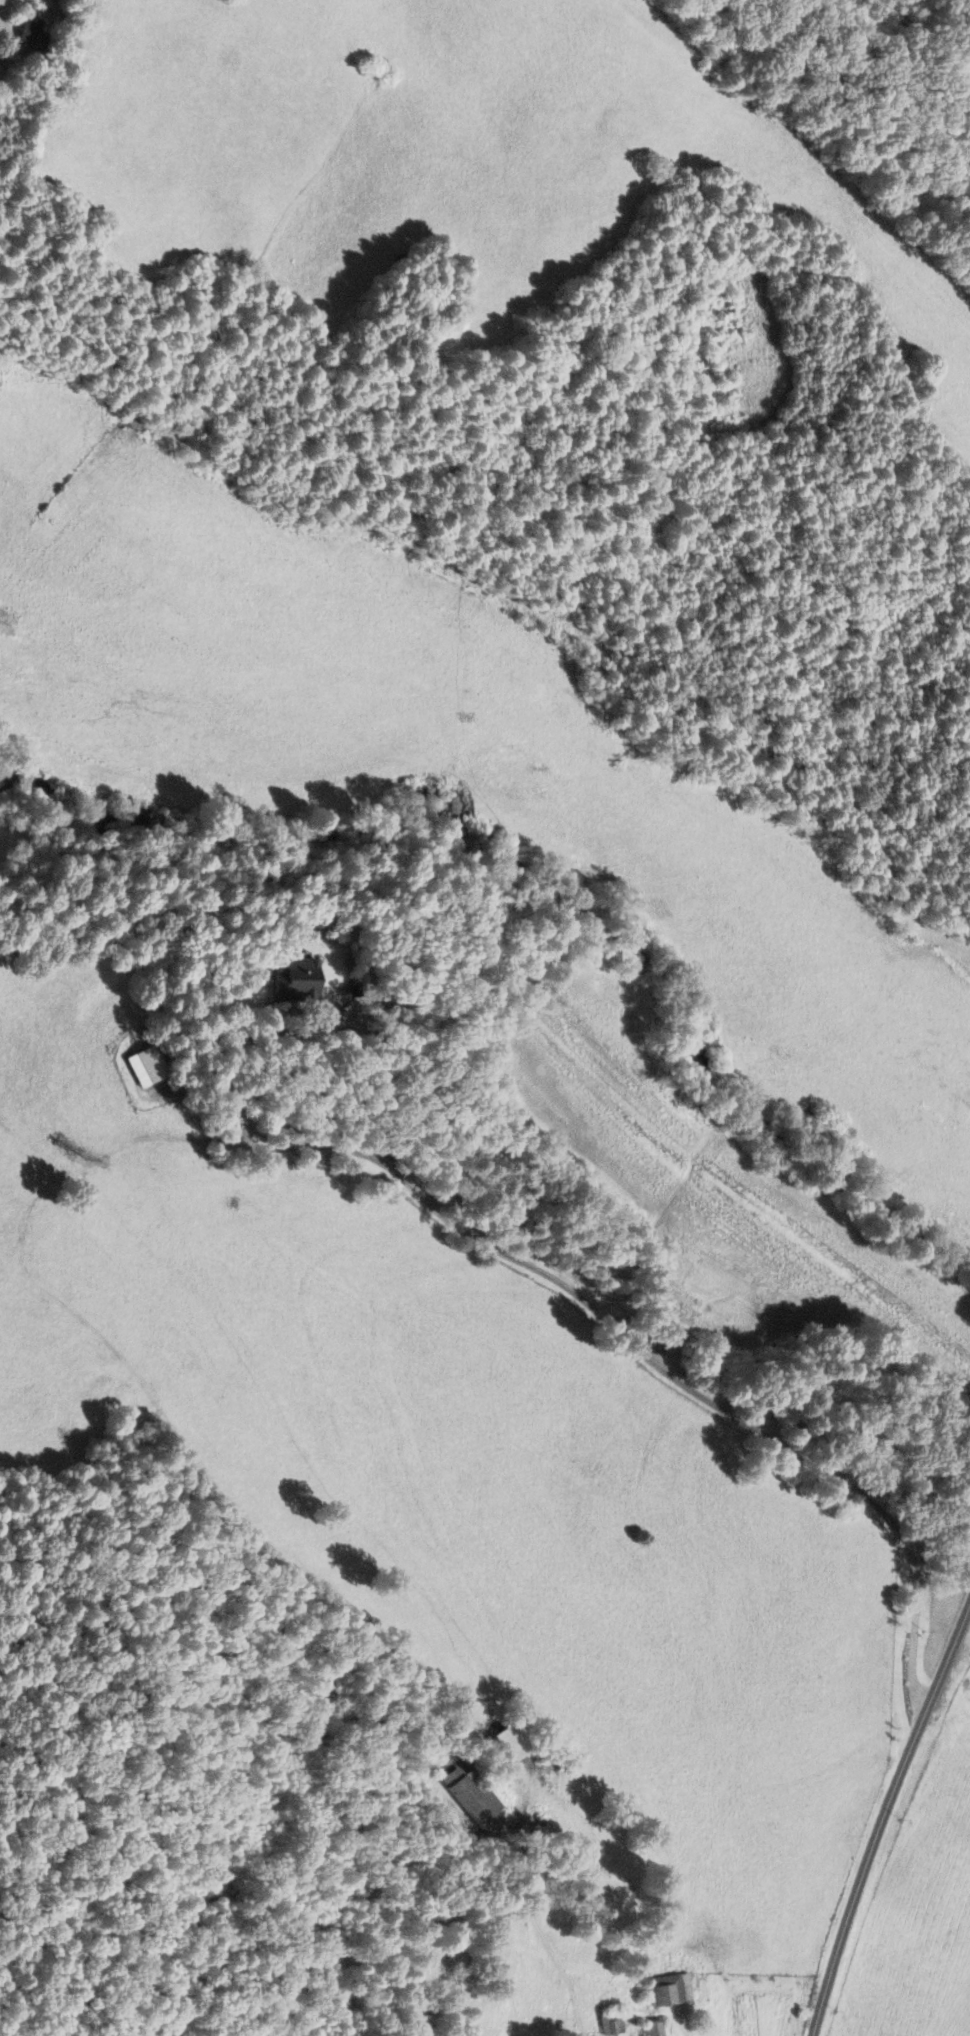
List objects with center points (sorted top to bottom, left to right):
building: (29, 34)
building: (289, 979)
road: (565, 1287)
building: (467, 1795)
road: (882, 1819)
building: (669, 1988)
building: (609, 2023)
building: (651, 2027)

